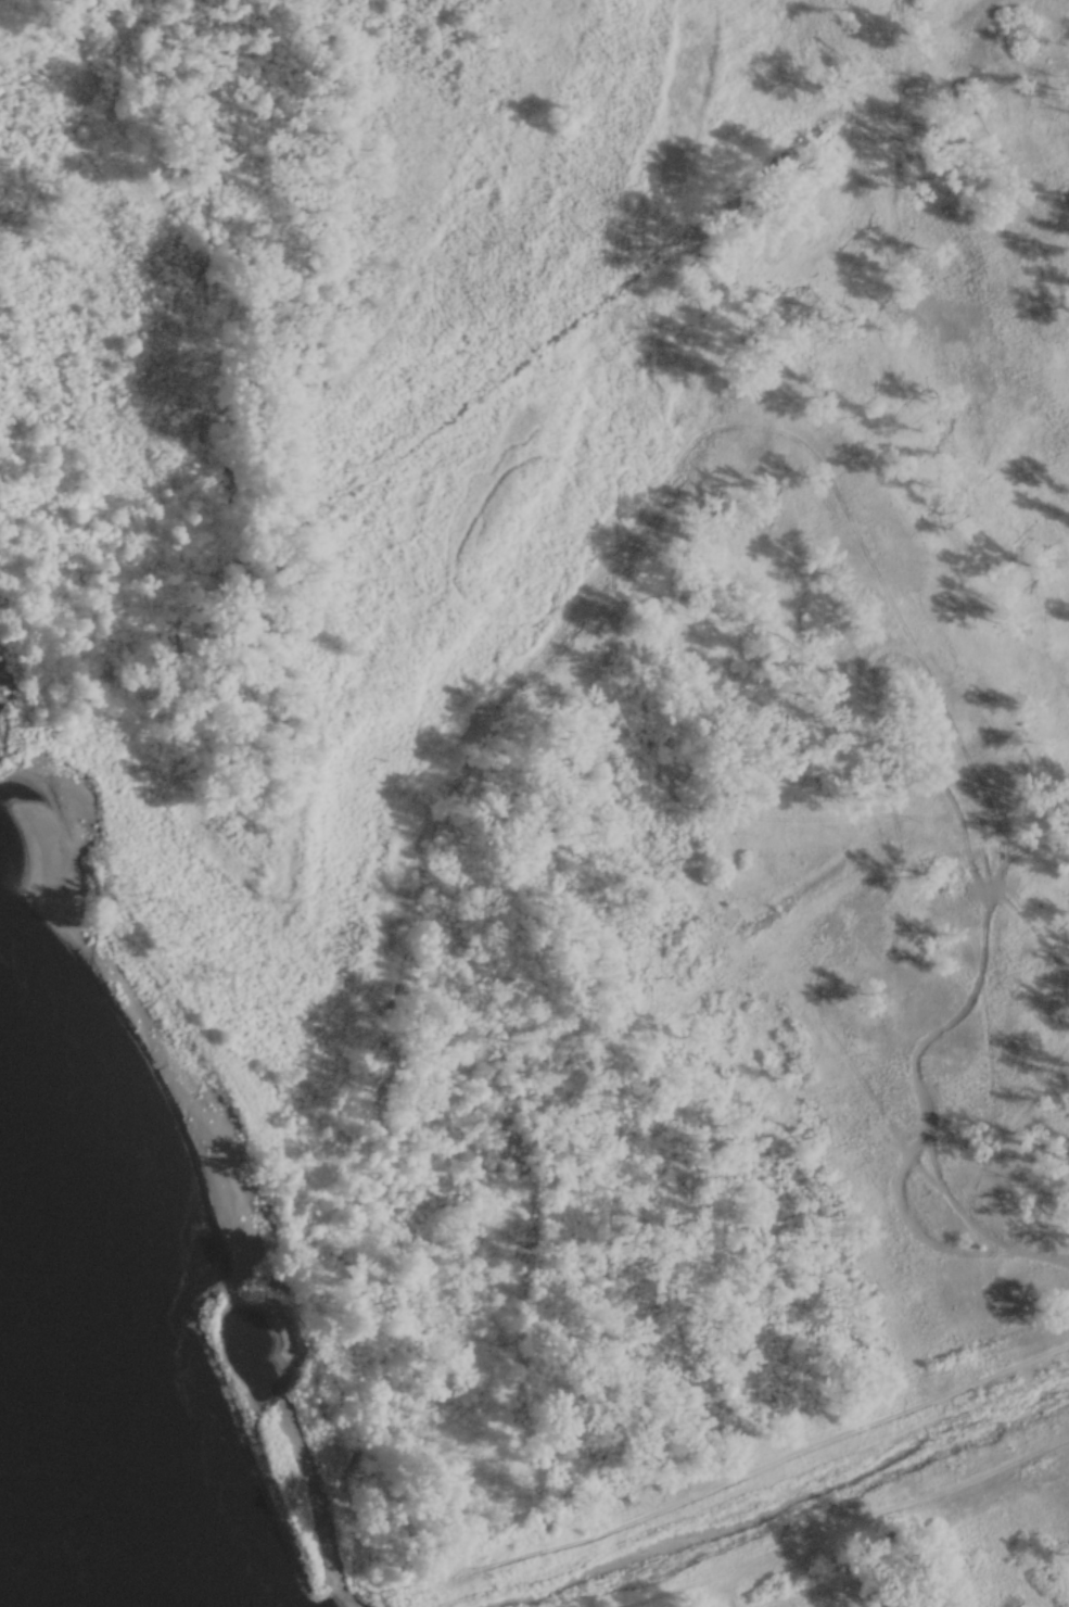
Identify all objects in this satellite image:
river: (36, 1521)

